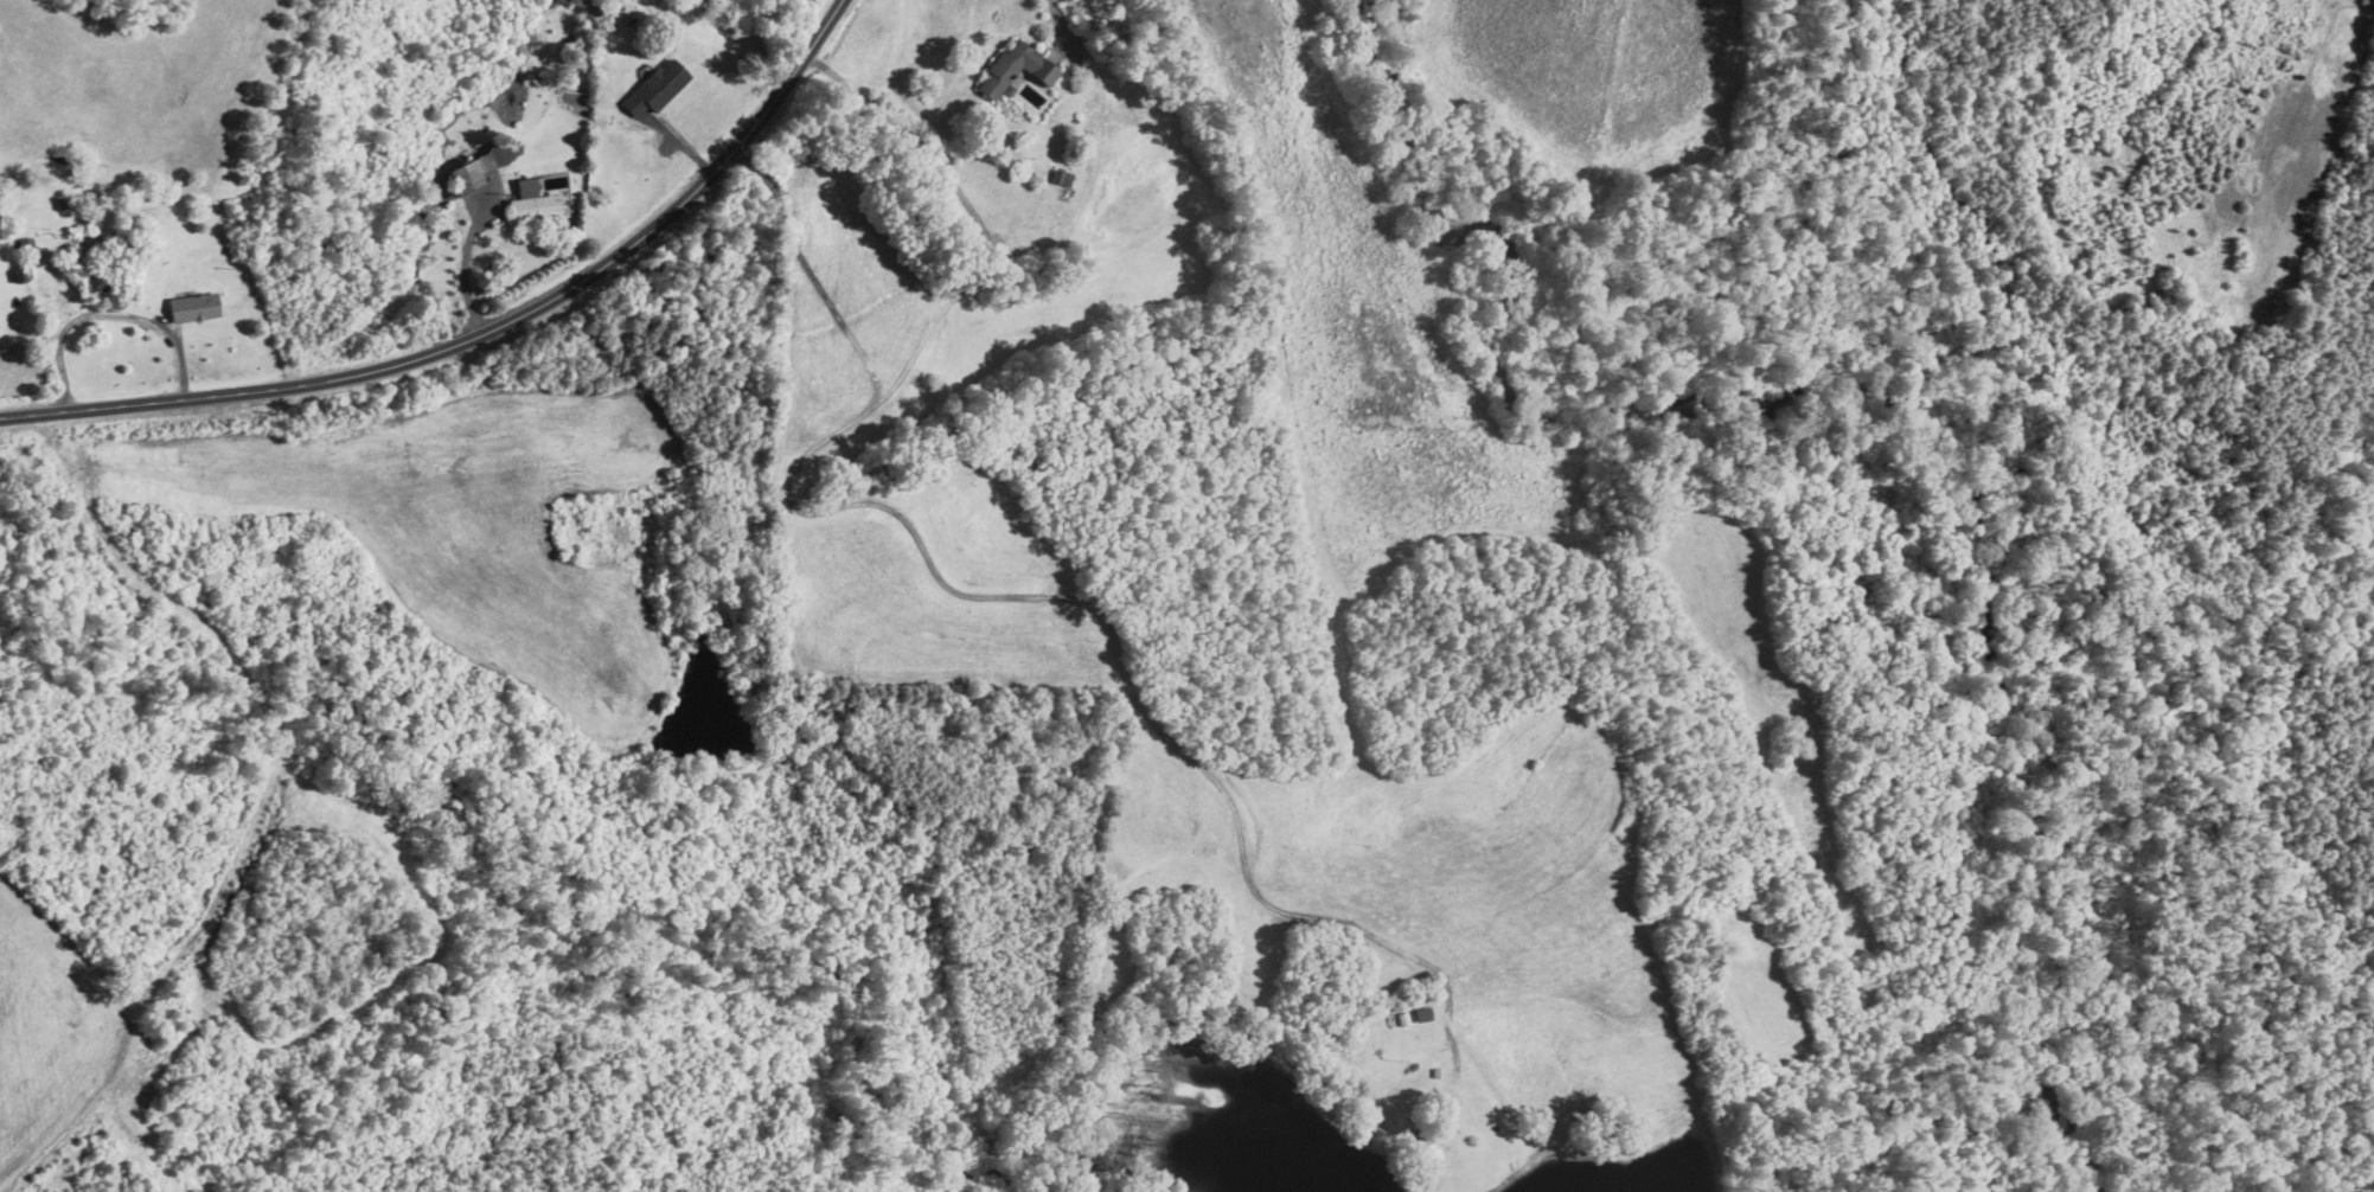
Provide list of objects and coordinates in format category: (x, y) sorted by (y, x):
road: (1055, 21)
building: (1013, 69)
building: (655, 86)
building: (478, 165)
building: (1060, 177)
building: (530, 201)
road: (468, 261)
building: (192, 307)
road: (110, 313)
road: (486, 333)
road: (961, 591)

